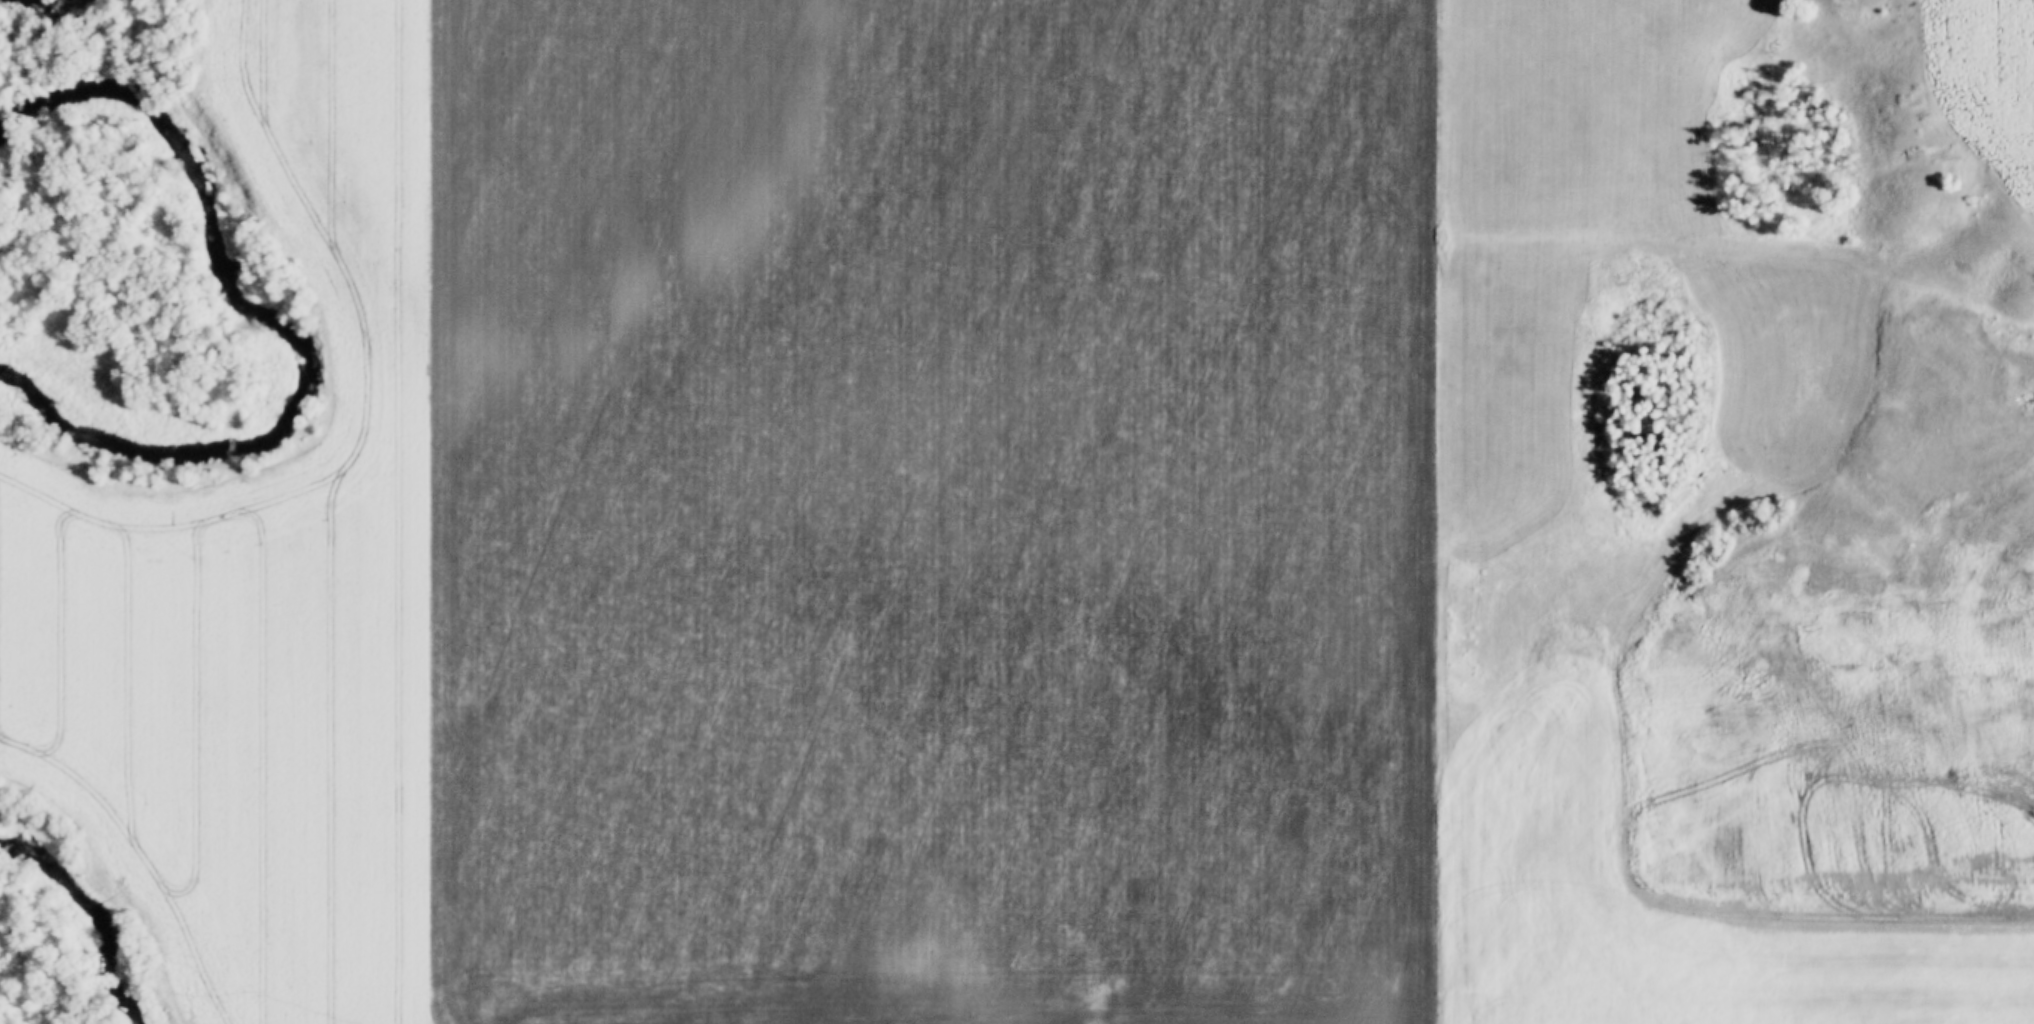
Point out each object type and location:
quarry: (1855, 625)
road: (1867, 799)

